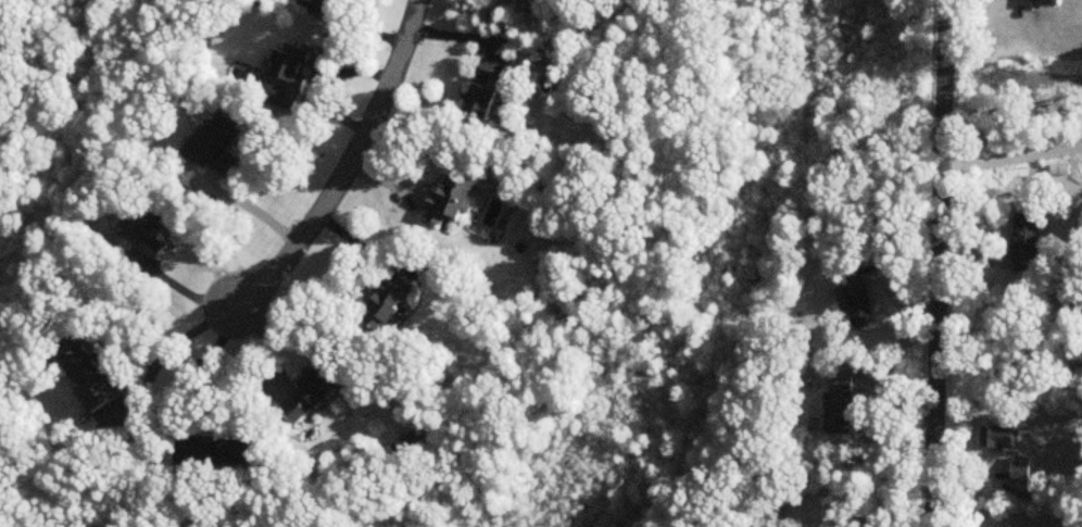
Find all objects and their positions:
building: (337, 0)
building: (538, 1)
building: (1049, 3)
building: (291, 72)
building: (488, 89)
building: (217, 146)
road: (1012, 155)
road: (350, 167)
building: (1061, 171)
building: (456, 199)
building: (147, 234)
building: (1028, 244)
road: (942, 263)
road: (185, 290)
building: (391, 303)
building: (859, 303)
road: (181, 341)
road: (188, 374)
building: (96, 382)
building: (315, 396)
building: (842, 405)
building: (998, 438)
building: (226, 451)
building: (1021, 472)

